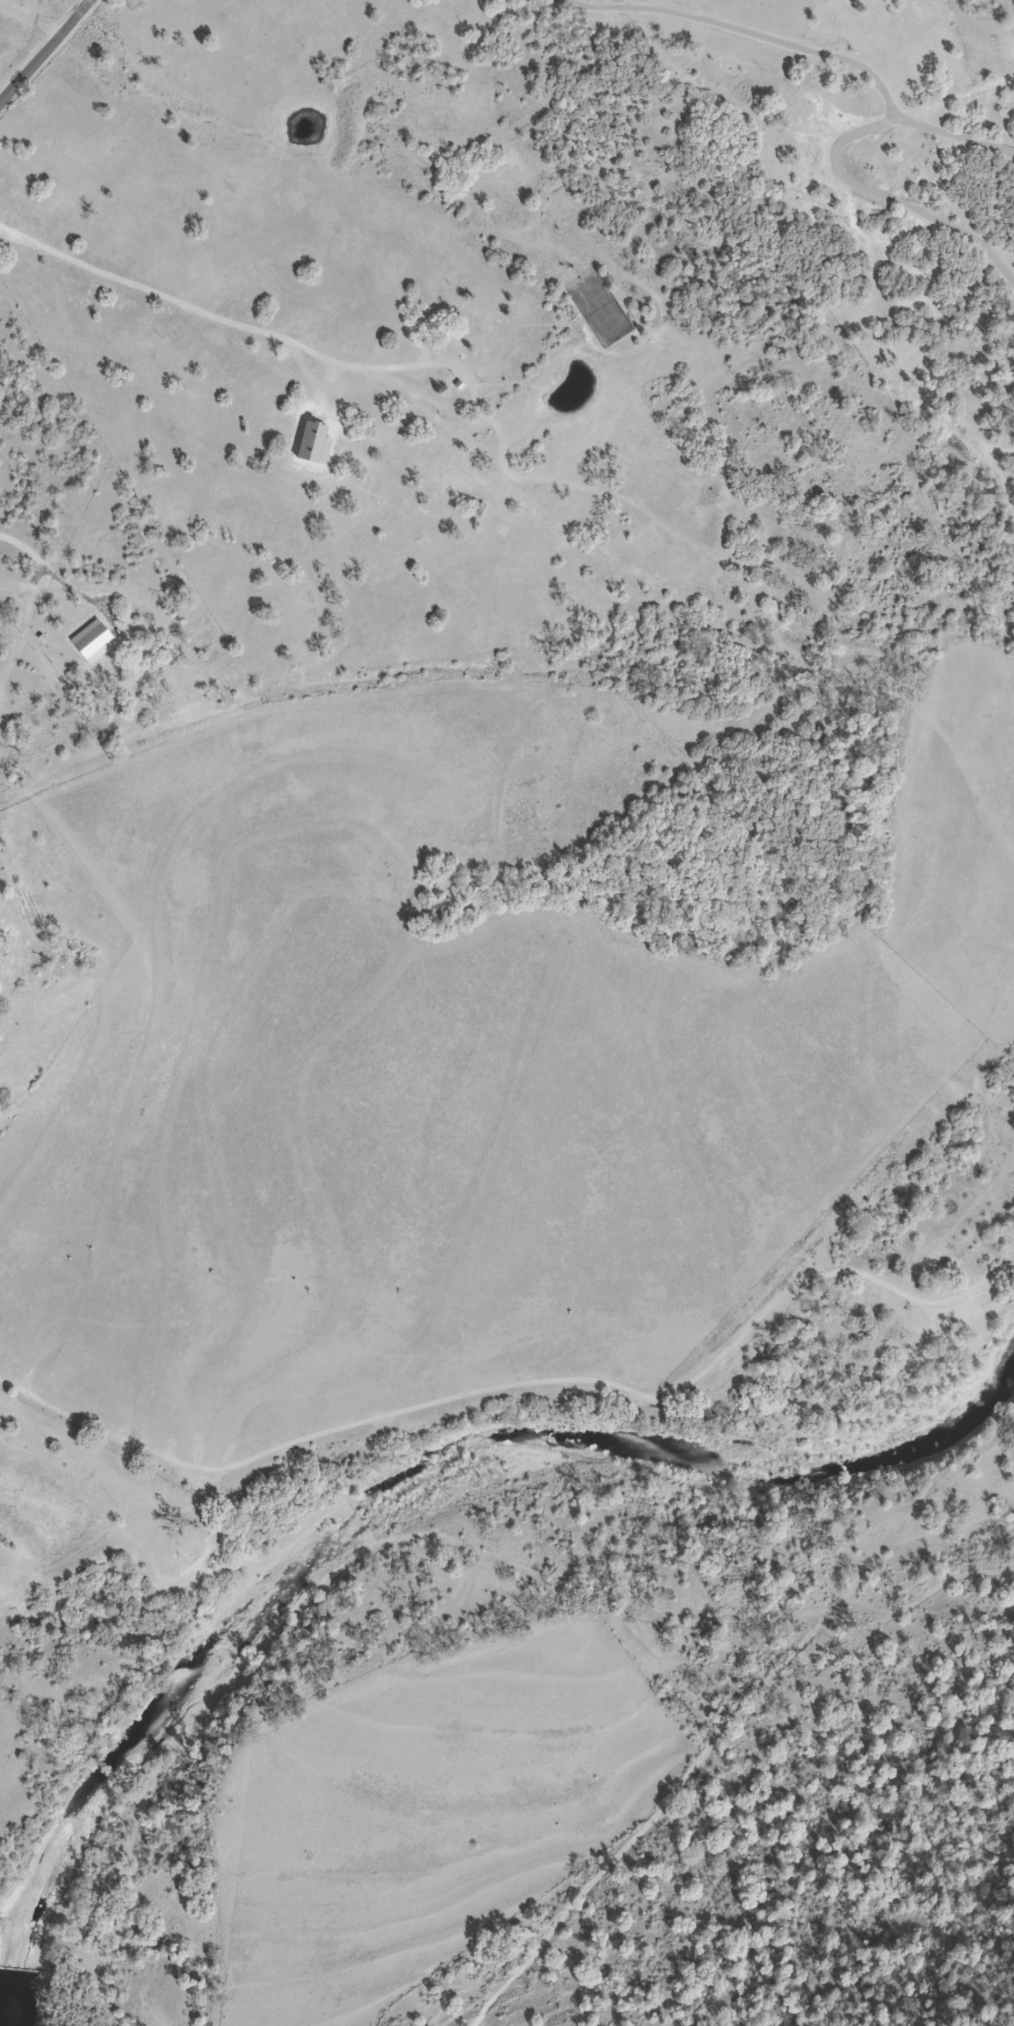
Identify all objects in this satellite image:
road: (802, 50)
road: (44, 52)
road: (889, 201)
building: (483, 322)
road: (676, 399)
building: (461, 477)
building: (369, 489)
road: (39, 554)
road: (25, 640)
building: (110, 676)
road: (513, 1383)

